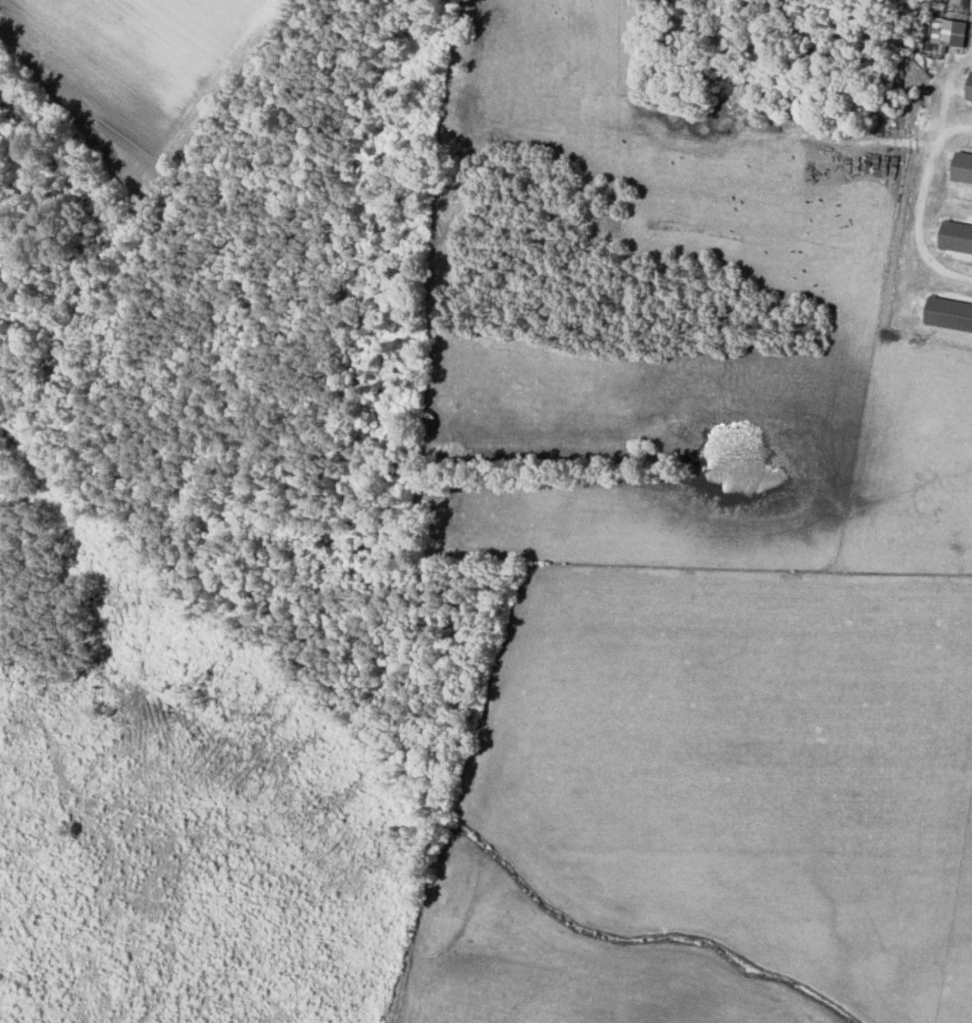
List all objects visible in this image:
building: (948, 31)
building: (969, 89)
building: (955, 239)
building: (948, 313)

